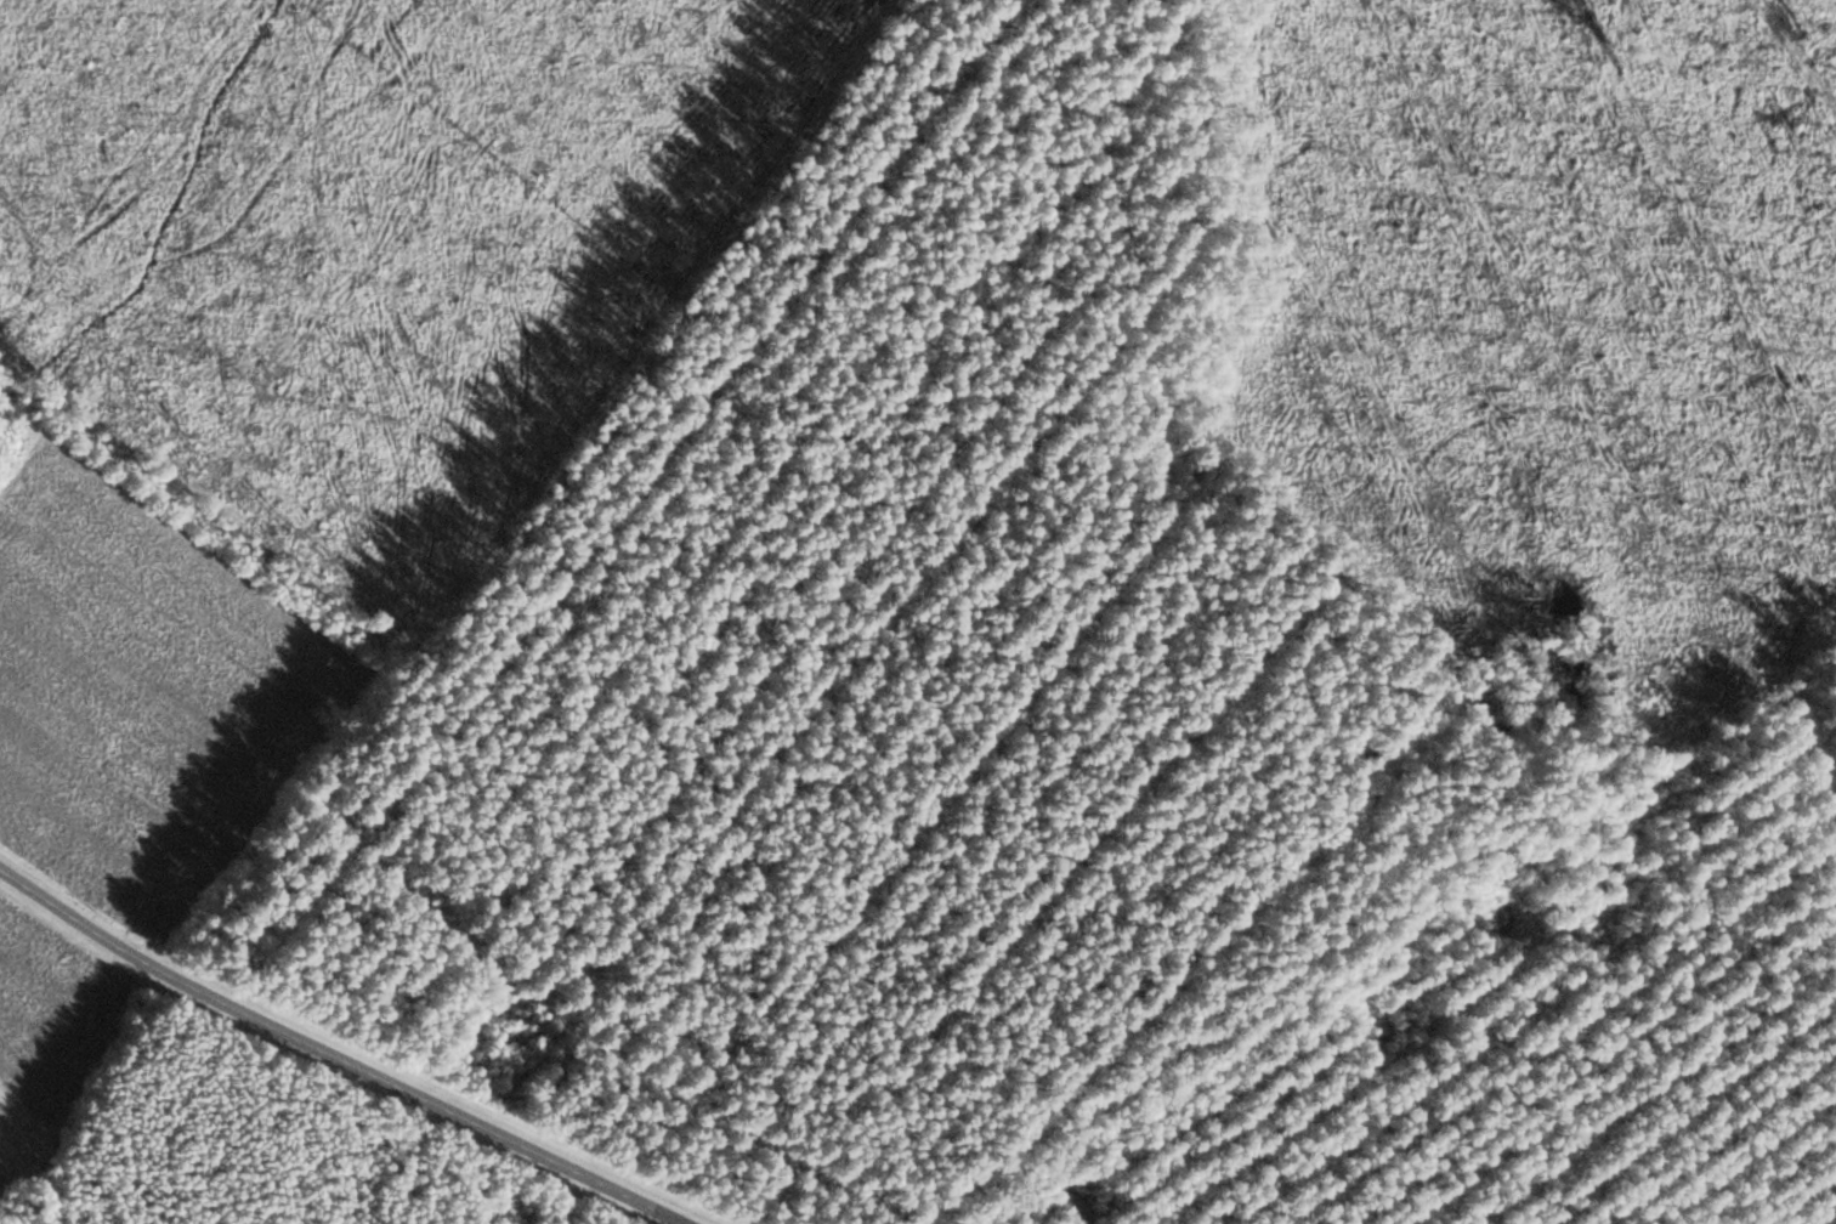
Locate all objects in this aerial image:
road: (333, 1058)

